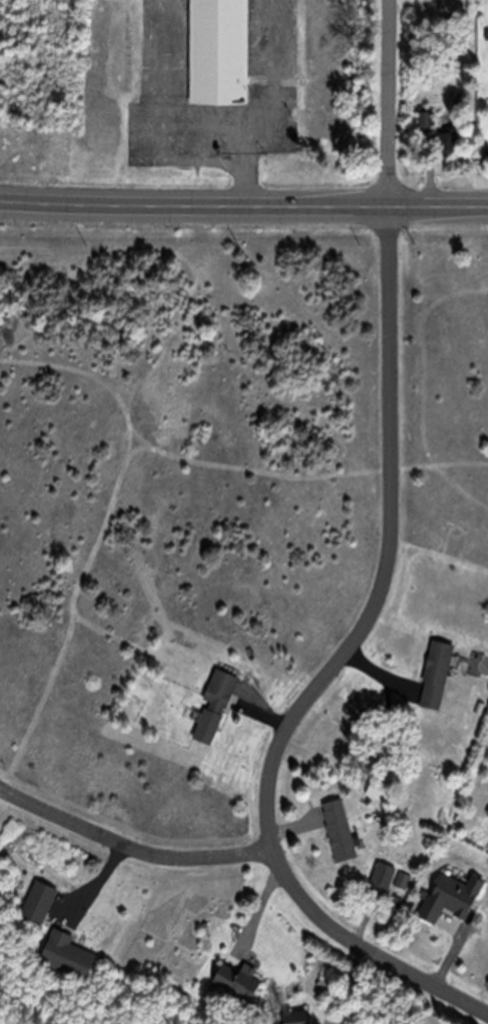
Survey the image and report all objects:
building: (221, 52)
road: (385, 104)
building: (425, 120)
building: (448, 142)
road: (243, 205)
road: (338, 670)
building: (441, 676)
building: (217, 708)
building: (342, 831)
road: (131, 850)
building: (456, 898)
building: (42, 902)
building: (72, 956)
building: (243, 983)
building: (300, 1017)

